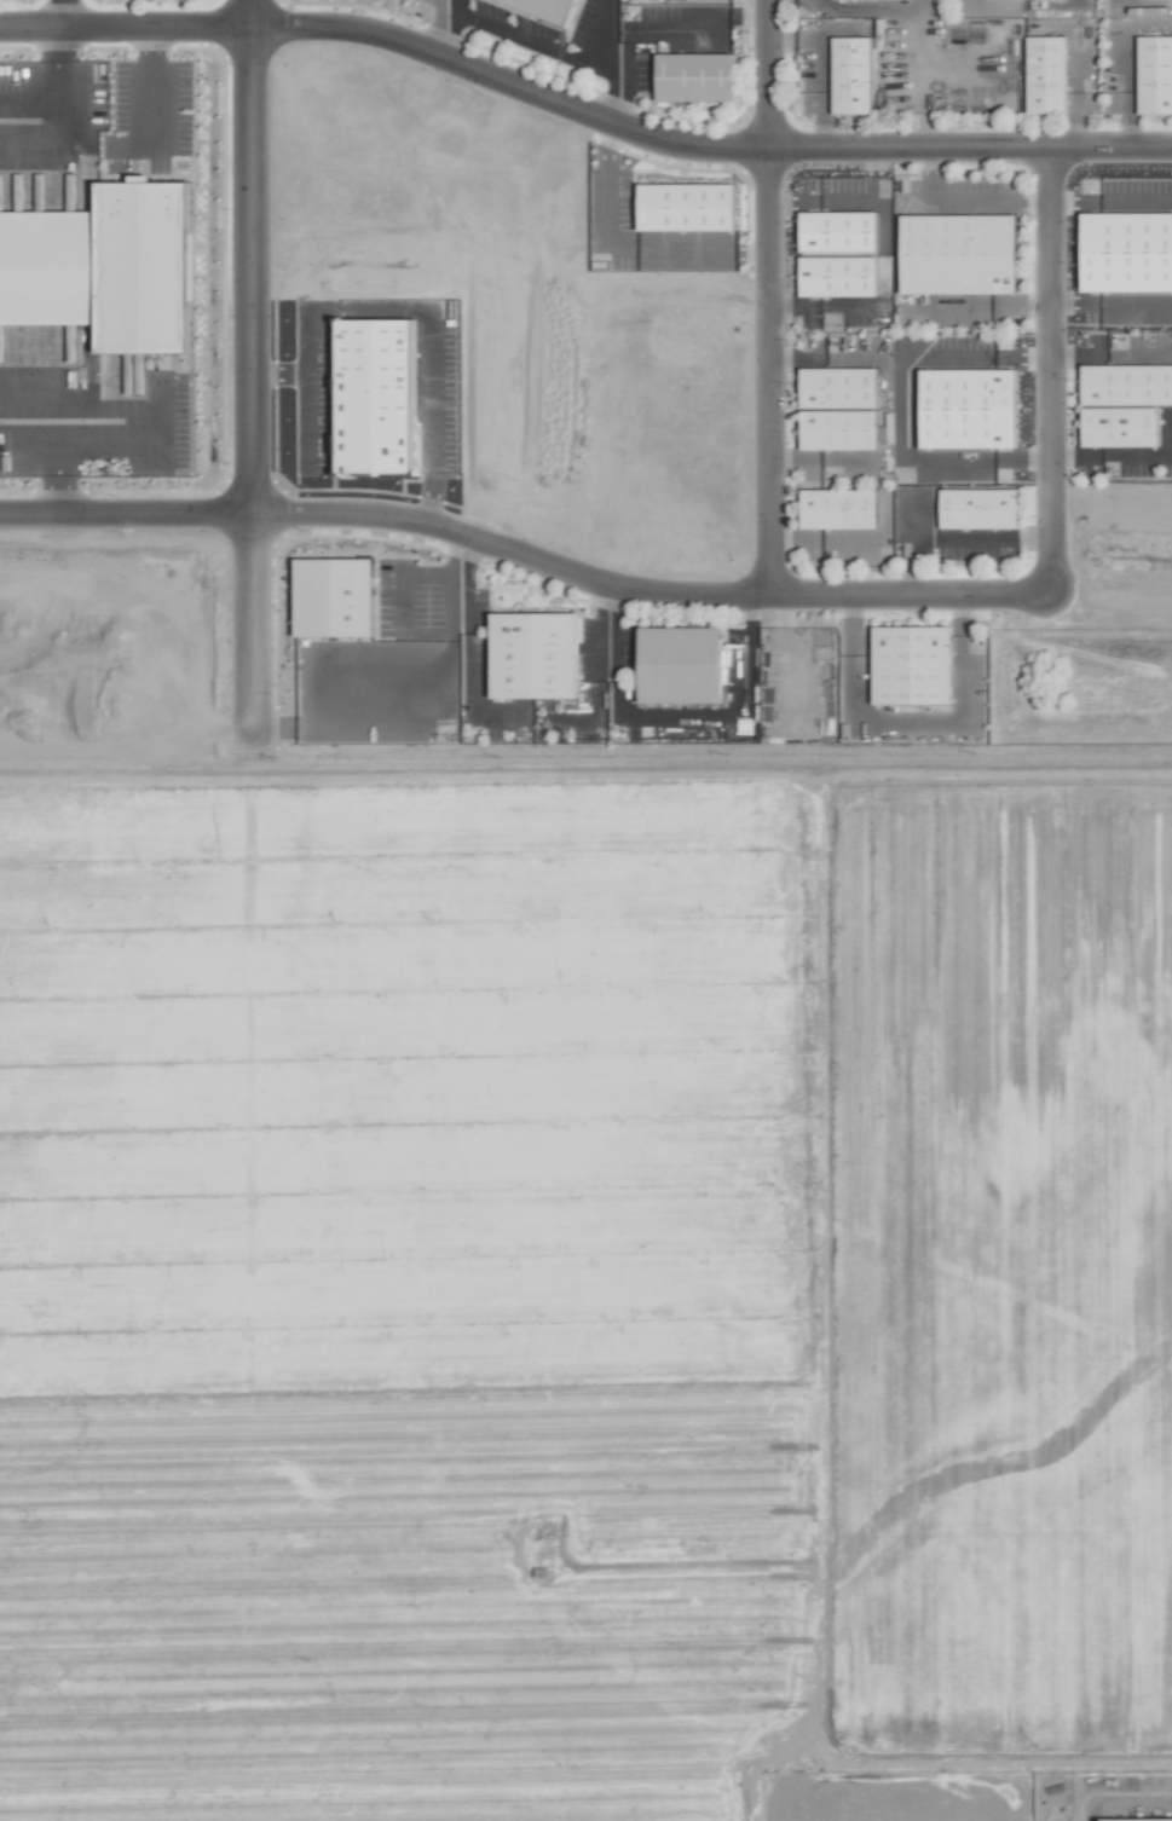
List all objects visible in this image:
building: (547, 8)
road: (60, 13)
road: (122, 27)
road: (448, 33)
road: (514, 35)
road: (614, 73)
building: (851, 75)
building: (1046, 75)
building: (1155, 75)
building: (695, 77)
road: (145, 87)
road: (60, 114)
road: (698, 146)
road: (606, 196)
road: (963, 201)
building: (687, 207)
road: (700, 250)
building: (959, 254)
building: (138, 270)
building: (838, 276)
road: (764, 296)
road: (985, 305)
road: (1112, 354)
road: (246, 360)
road: (1051, 366)
building: (838, 388)
building: (1124, 404)
building: (838, 429)
road: (53, 443)
building: (839, 509)
building: (980, 509)
road: (958, 537)
road: (521, 556)
road: (467, 579)
building: (334, 595)
road: (607, 629)
building: (535, 654)
building: (681, 663)
building: (912, 664)
road: (1109, 1788)
building: (1138, 1819)

